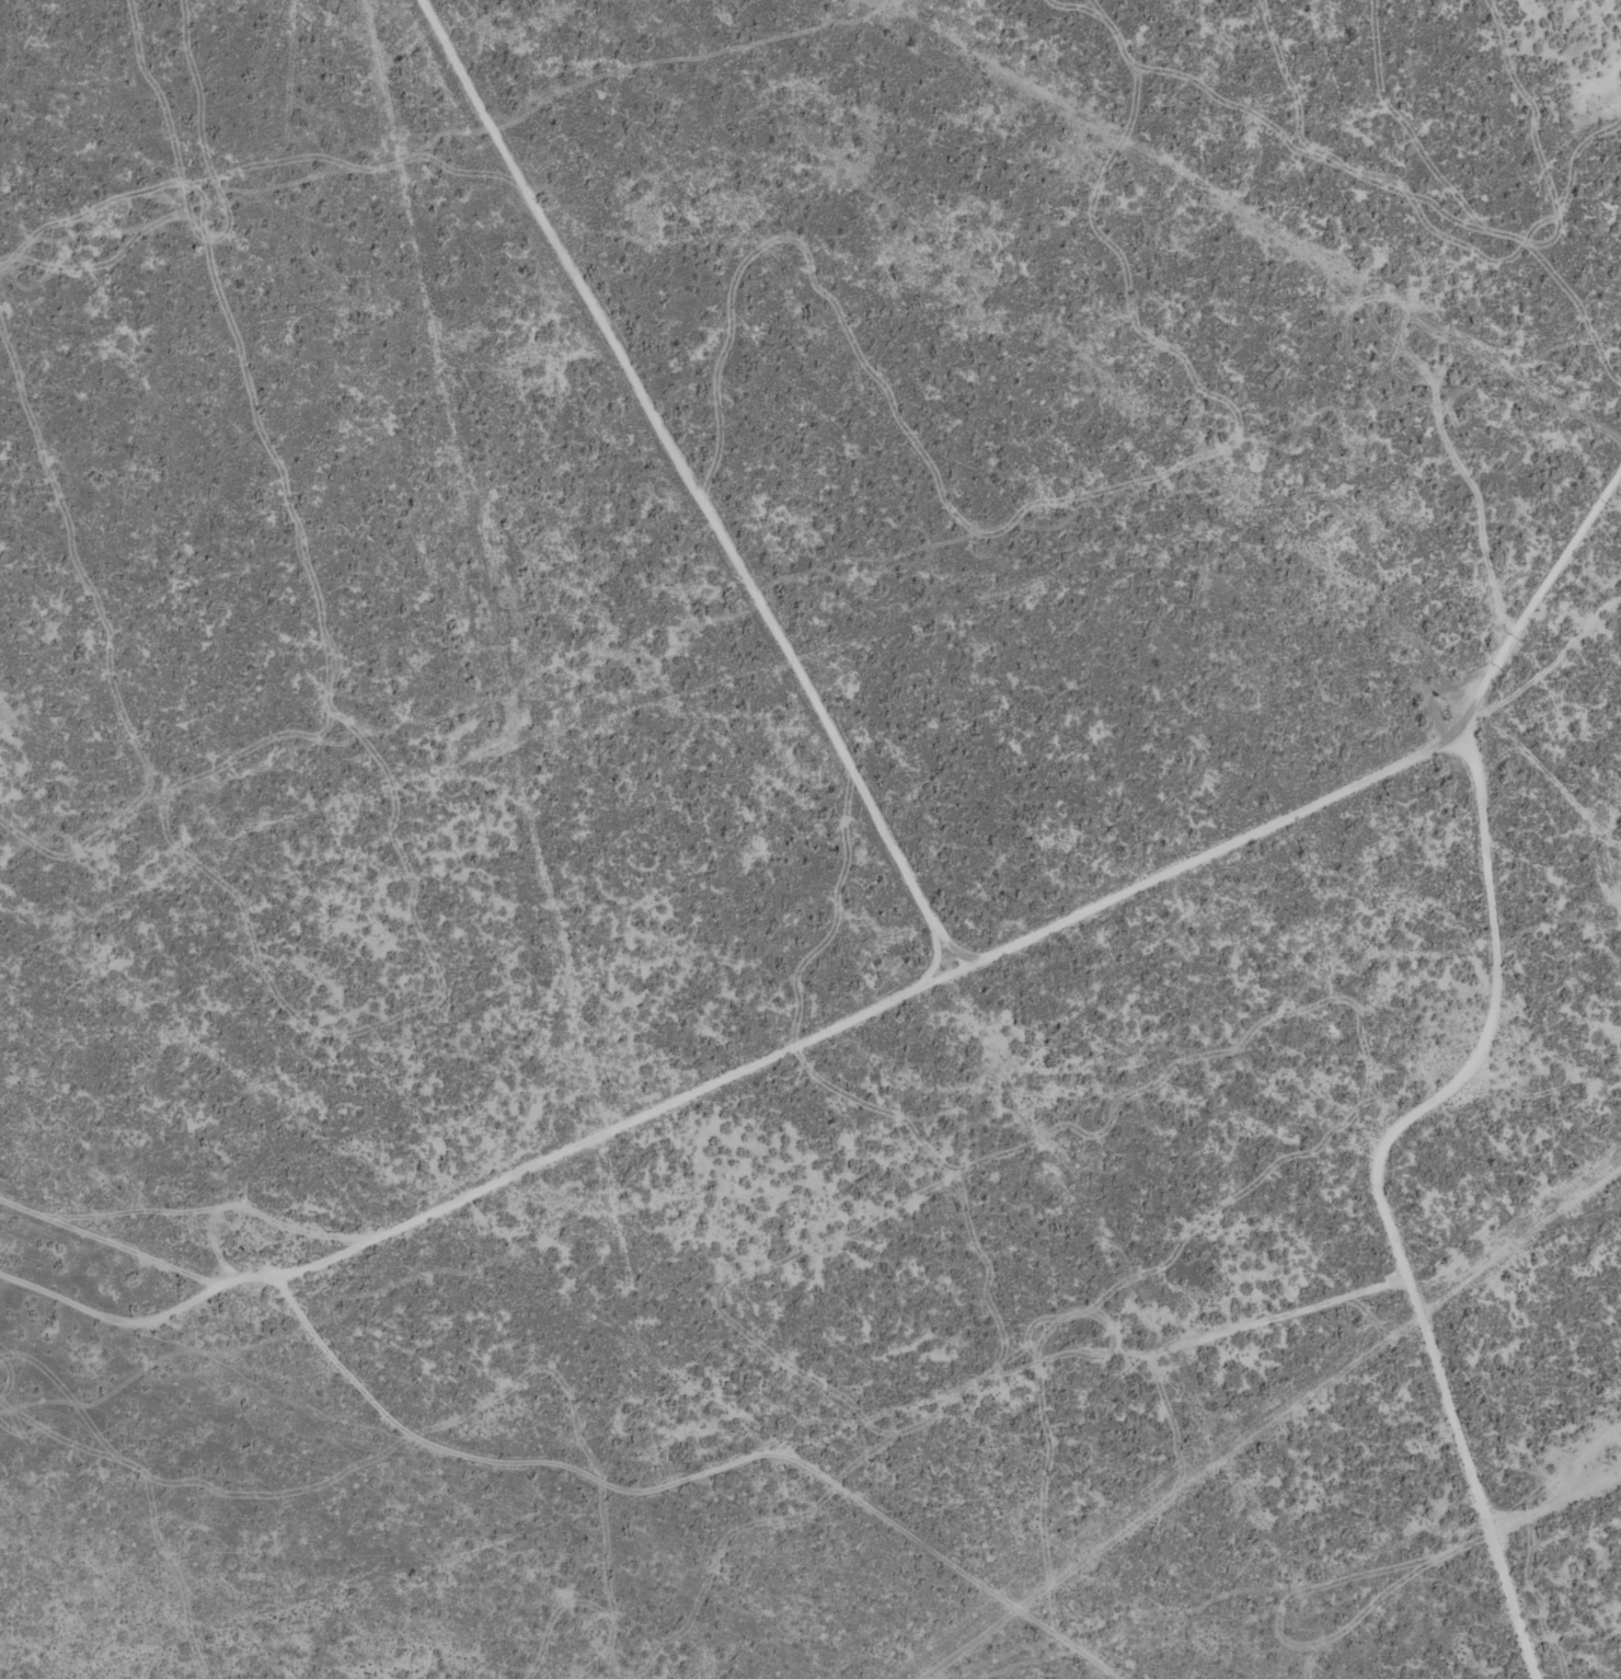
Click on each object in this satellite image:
road: (653, 485)
road: (1186, 851)
road: (1496, 1230)

